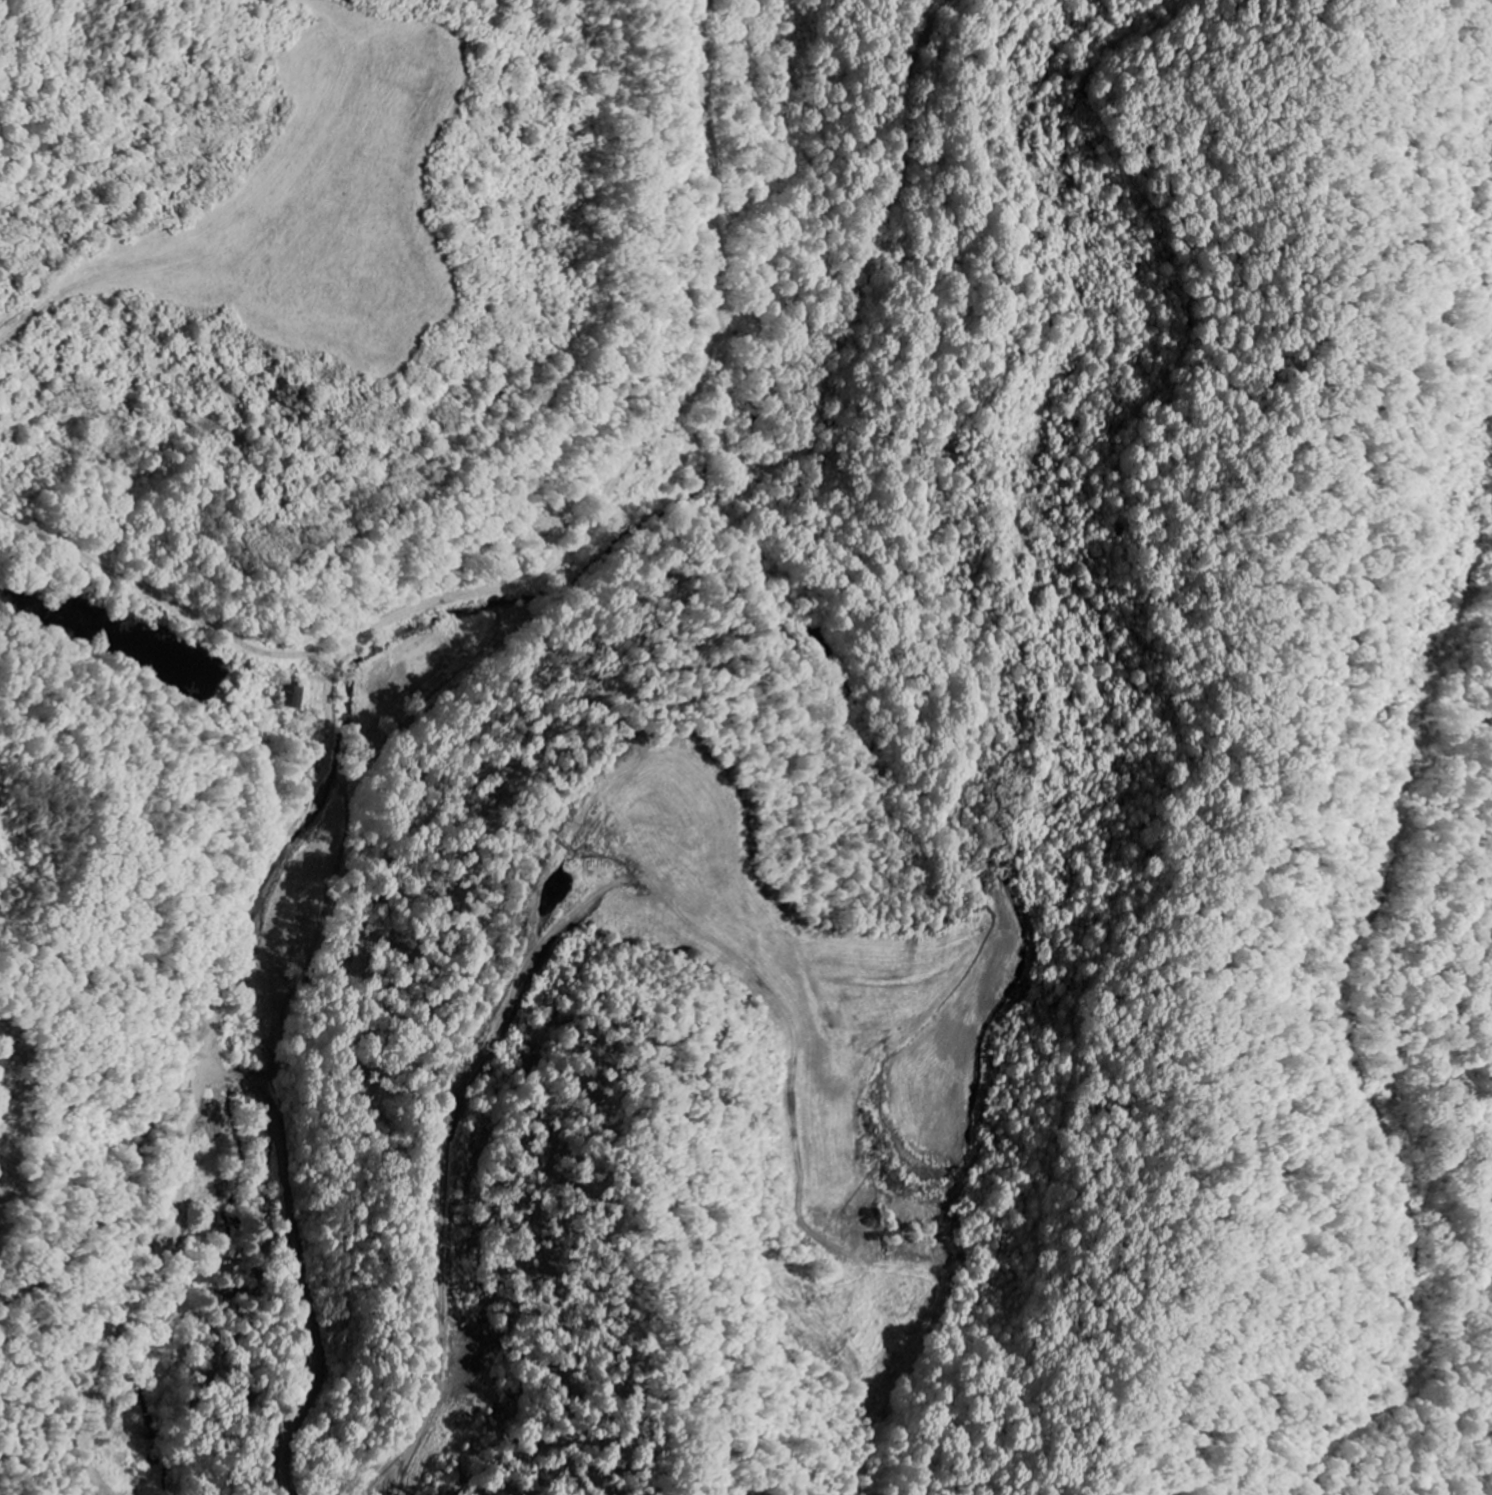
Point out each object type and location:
road: (351, 648)
road: (69, 1464)
road: (93, 1464)

